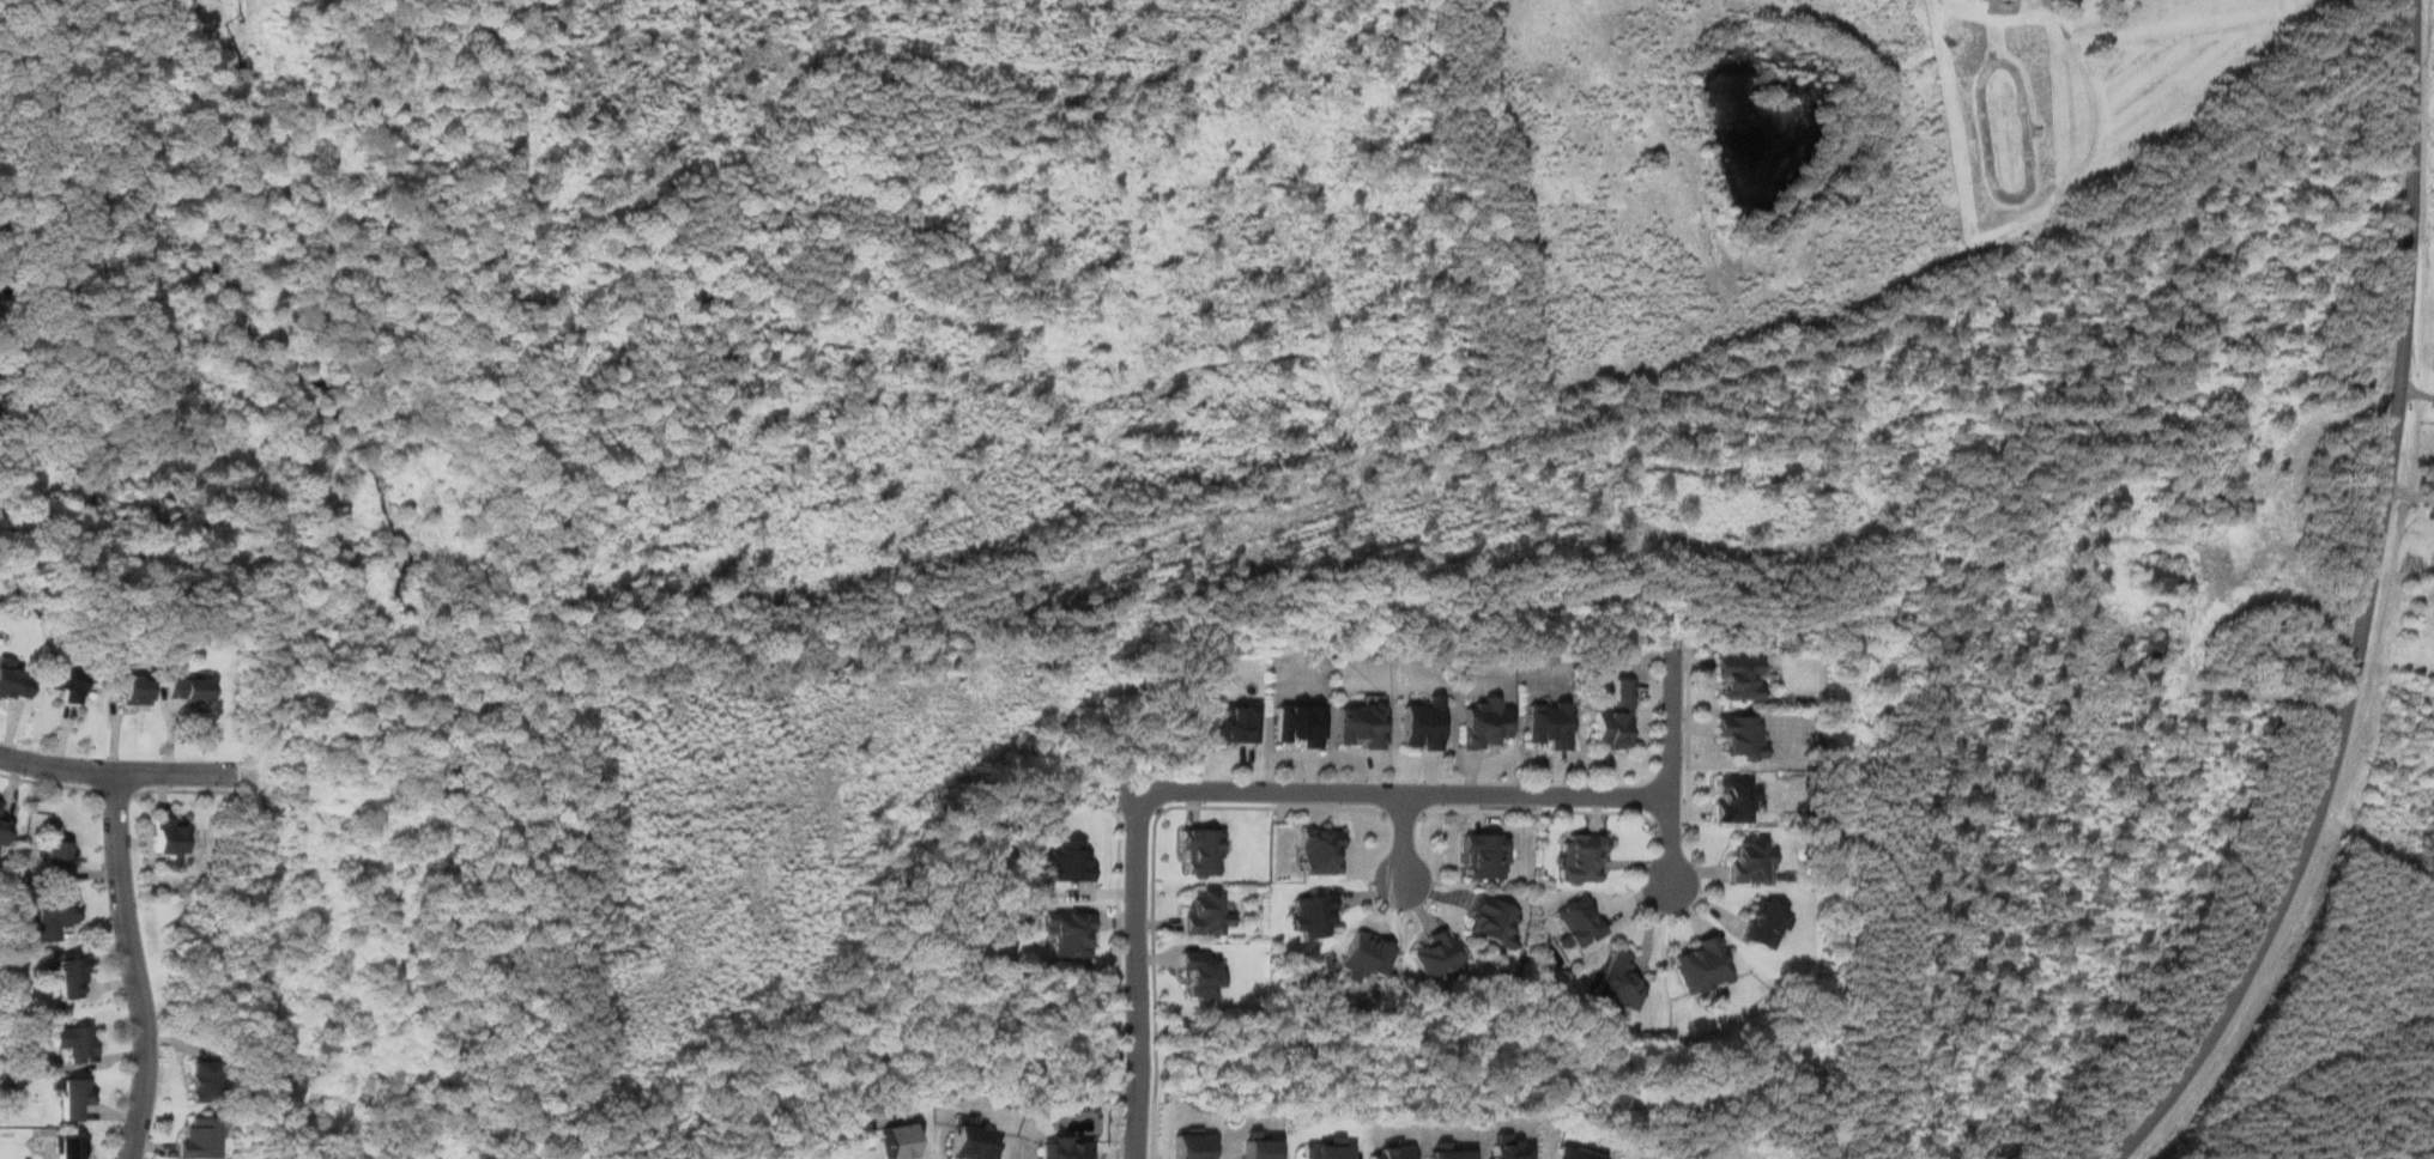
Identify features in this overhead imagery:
building: (0, 377)
building: (2216, 508)
building: (2162, 578)
road: (2366, 609)
building: (2301, 643)
building: (2151, 653)
building: (1739, 675)
building: (13, 679)
building: (69, 681)
building: (131, 688)
building: (188, 690)
building: (1616, 716)
building: (1236, 723)
building: (1485, 723)
building: (1549, 723)
building: (1298, 724)
building: (1361, 724)
building: (1423, 724)
road: (1688, 735)
building: (1742, 735)
road: (1672, 766)
road: (119, 775)
road: (48, 782)
road: (182, 789)
road: (115, 791)
road: (1405, 793)
building: (1734, 797)
road: (1136, 811)
road: (1540, 811)
road: (1403, 813)
road: (1671, 824)
building: (4, 830)
building: (170, 835)
road: (1404, 841)
building: (1319, 849)
building: (1203, 850)
building: (59, 855)
building: (1485, 856)
building: (1582, 857)
building: (1751, 858)
building: (1070, 860)
road: (1154, 872)
building: (54, 912)
building: (1207, 912)
building: (1313, 912)
building: (1494, 922)
building: (1578, 923)
building: (1767, 923)
building: (1071, 932)
building: (1439, 954)
building: (1702, 965)
road: (137, 967)
building: (1203, 973)
road: (1137, 975)
building: (72, 977)
road: (1119, 981)
building: (1619, 981)
building: (75, 1043)
building: (204, 1081)
building: (75, 1098)
building: (200, 1137)
building: (895, 1140)
building: (971, 1140)
building: (1192, 1146)
building: (1258, 1146)
building: (71, 1147)
building: (1509, 1147)
building: (1066, 1148)
building: (1328, 1149)
building: (1446, 1151)
building: (1395, 1152)
building: (1578, 1152)

